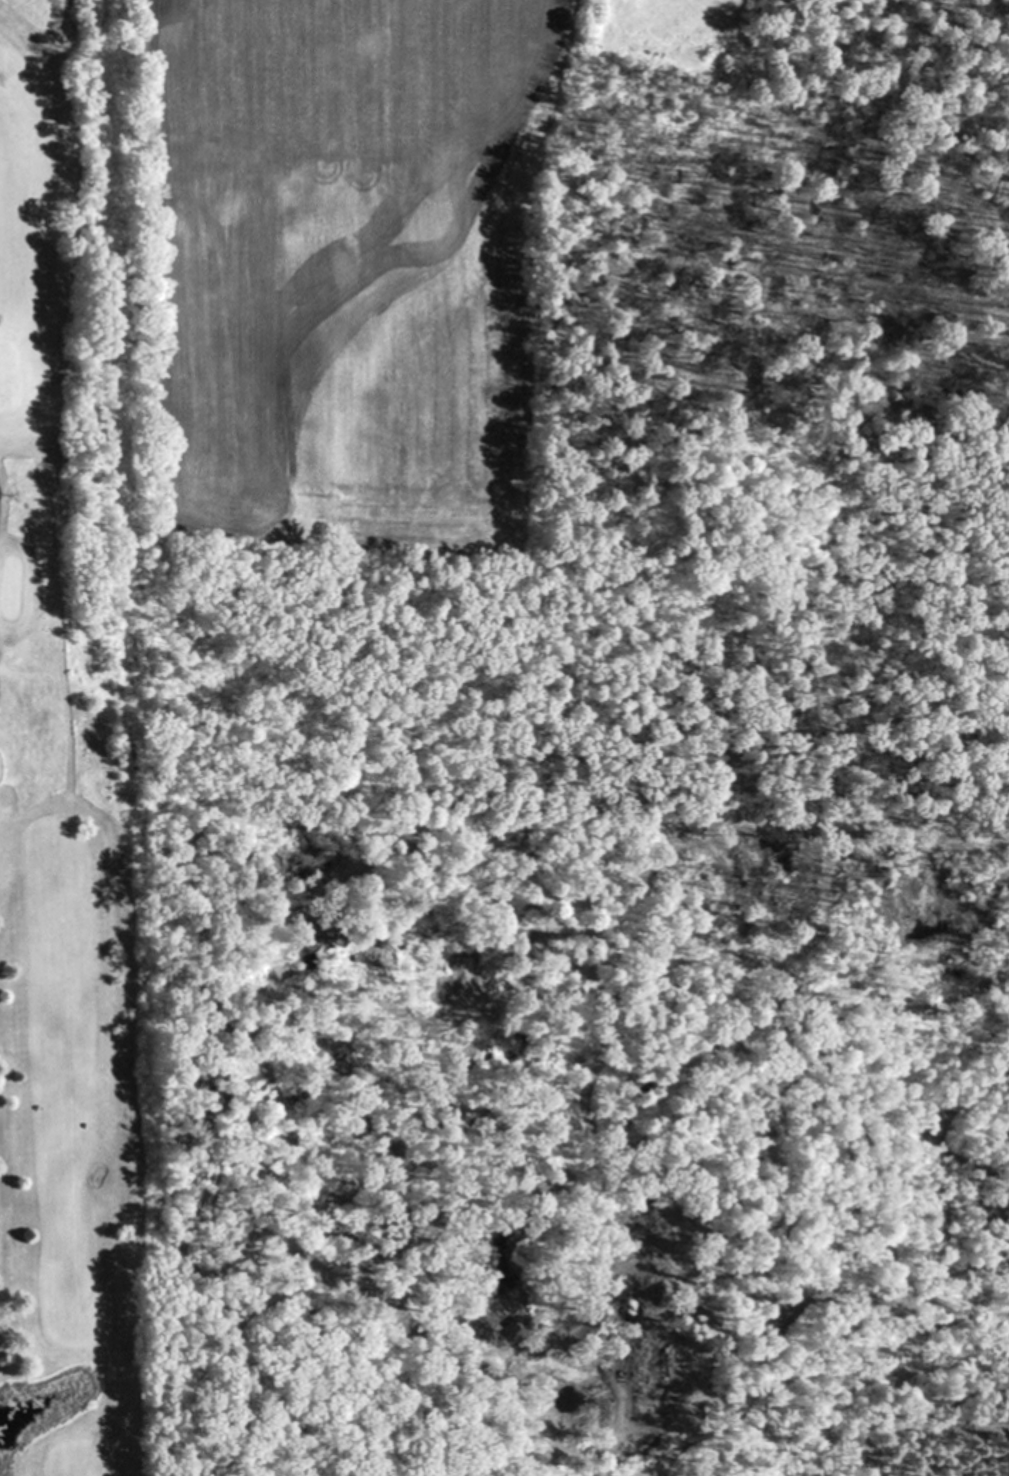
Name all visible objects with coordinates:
park: (72, 724)

